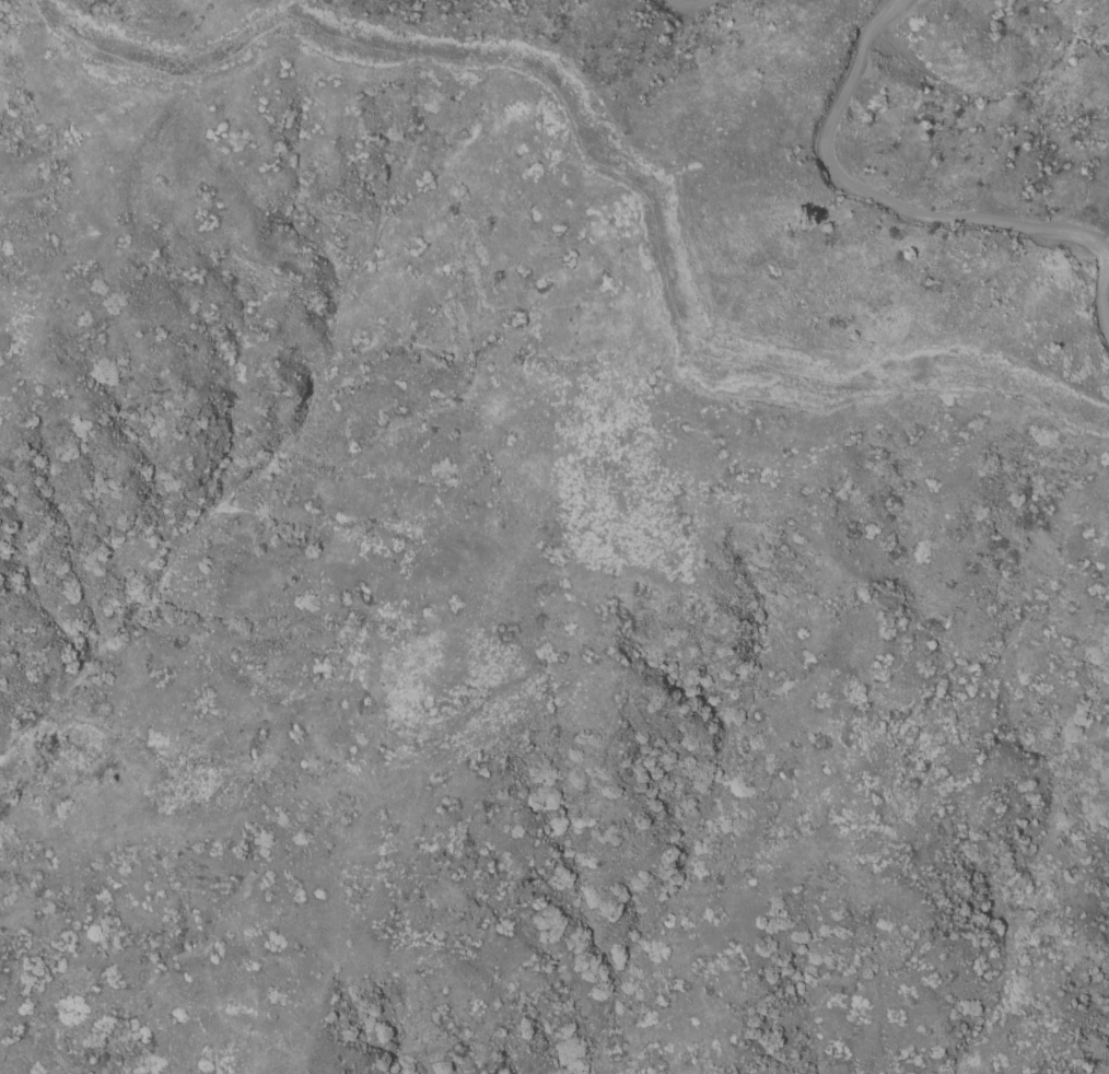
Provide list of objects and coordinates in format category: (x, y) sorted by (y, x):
road: (685, 1)
road: (896, 7)
road: (912, 213)

